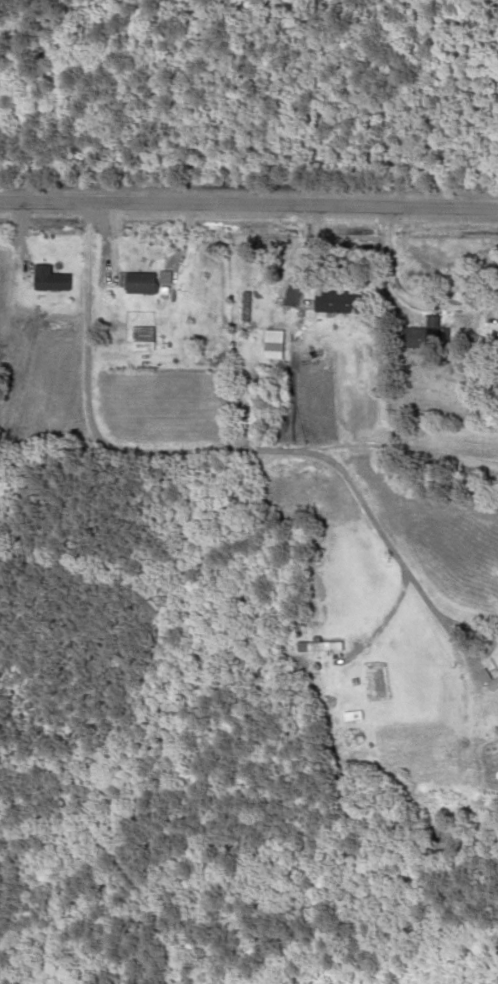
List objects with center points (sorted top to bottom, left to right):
road: (249, 202)
building: (50, 280)
building: (138, 281)
building: (335, 301)
building: (241, 305)
building: (422, 336)
building: (139, 346)
building: (269, 349)
building: (176, 363)
road: (254, 450)
building: (315, 647)
building: (492, 683)
building: (347, 716)

